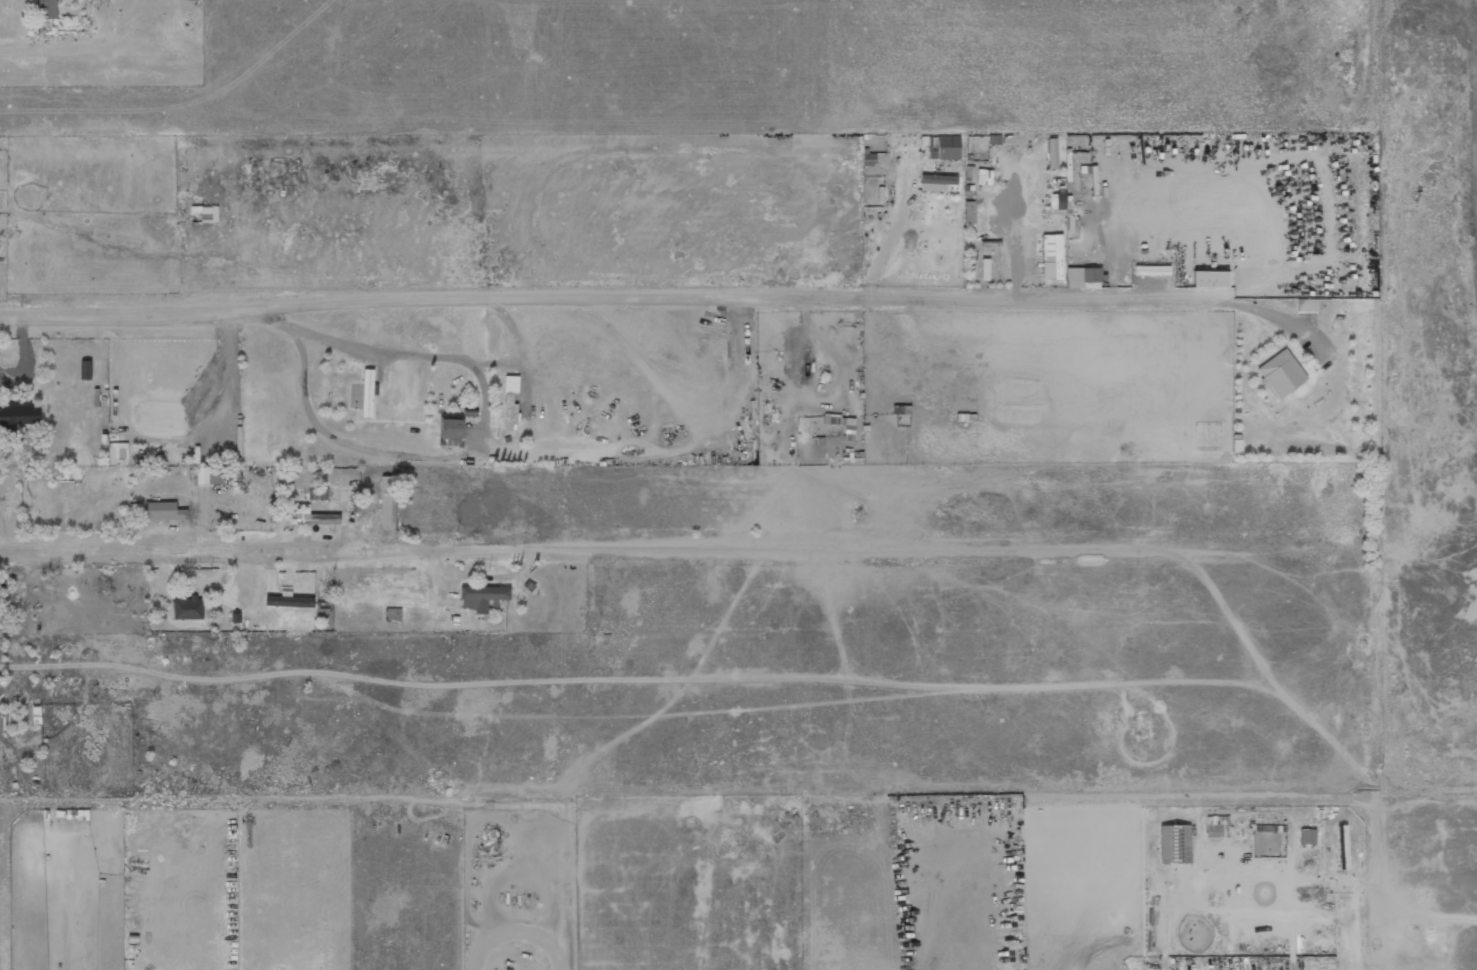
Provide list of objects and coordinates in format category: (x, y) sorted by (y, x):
building: (47, 9)
building: (1052, 153)
building: (984, 177)
building: (937, 179)
building: (1056, 201)
building: (1051, 256)
building: (1084, 276)
building: (1209, 279)
road: (675, 297)
building: (1306, 305)
building: (1280, 374)
building: (510, 403)
building: (19, 414)
building: (450, 431)
building: (847, 432)
building: (1236, 445)
building: (117, 450)
building: (209, 476)
building: (318, 494)
building: (385, 502)
building: (163, 511)
building: (312, 516)
road: (256, 550)
building: (481, 597)
building: (289, 601)
building: (3, 607)
building: (187, 608)
building: (392, 614)
building: (1307, 836)
building: (1174, 844)

